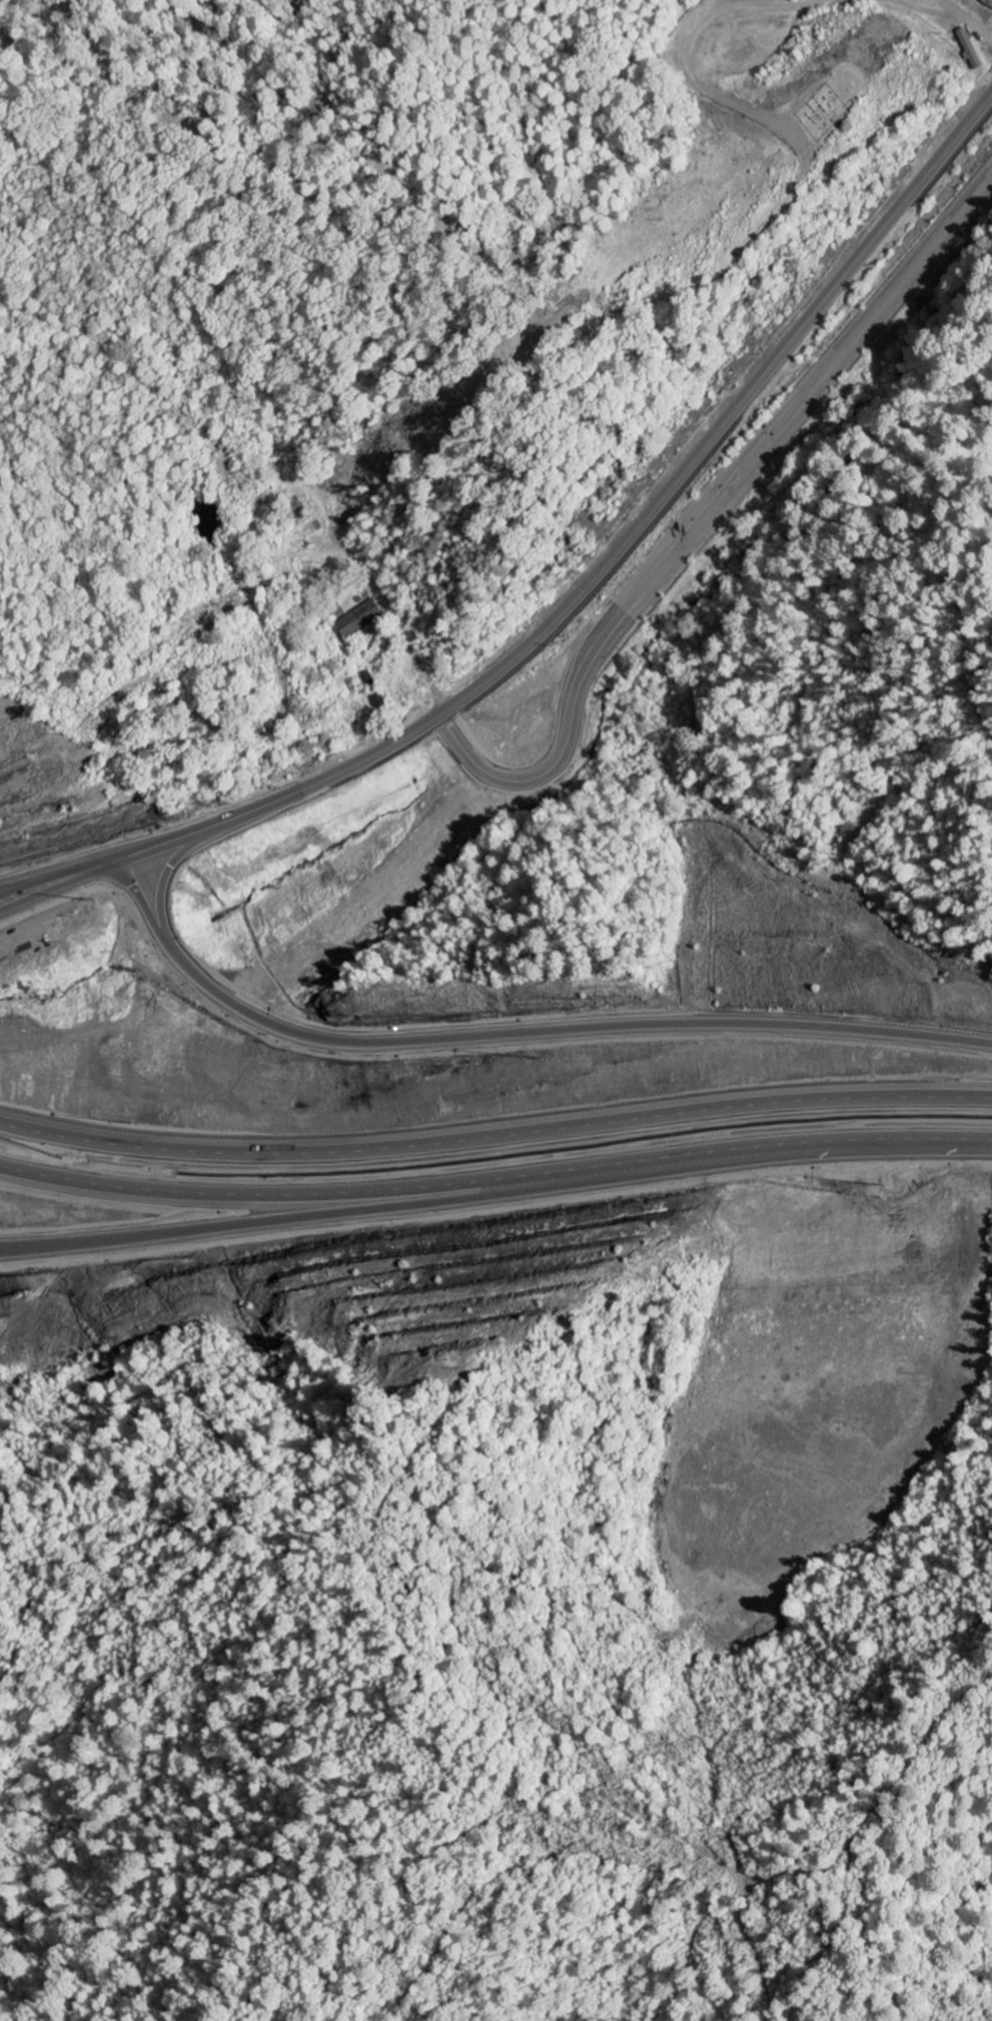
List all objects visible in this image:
road: (944, 15)
road: (691, 45)
building: (971, 50)
road: (703, 515)
road: (572, 598)
building: (363, 619)
road: (174, 865)
road: (512, 1036)
road: (495, 1132)
road: (495, 1178)
road: (409, 1203)

